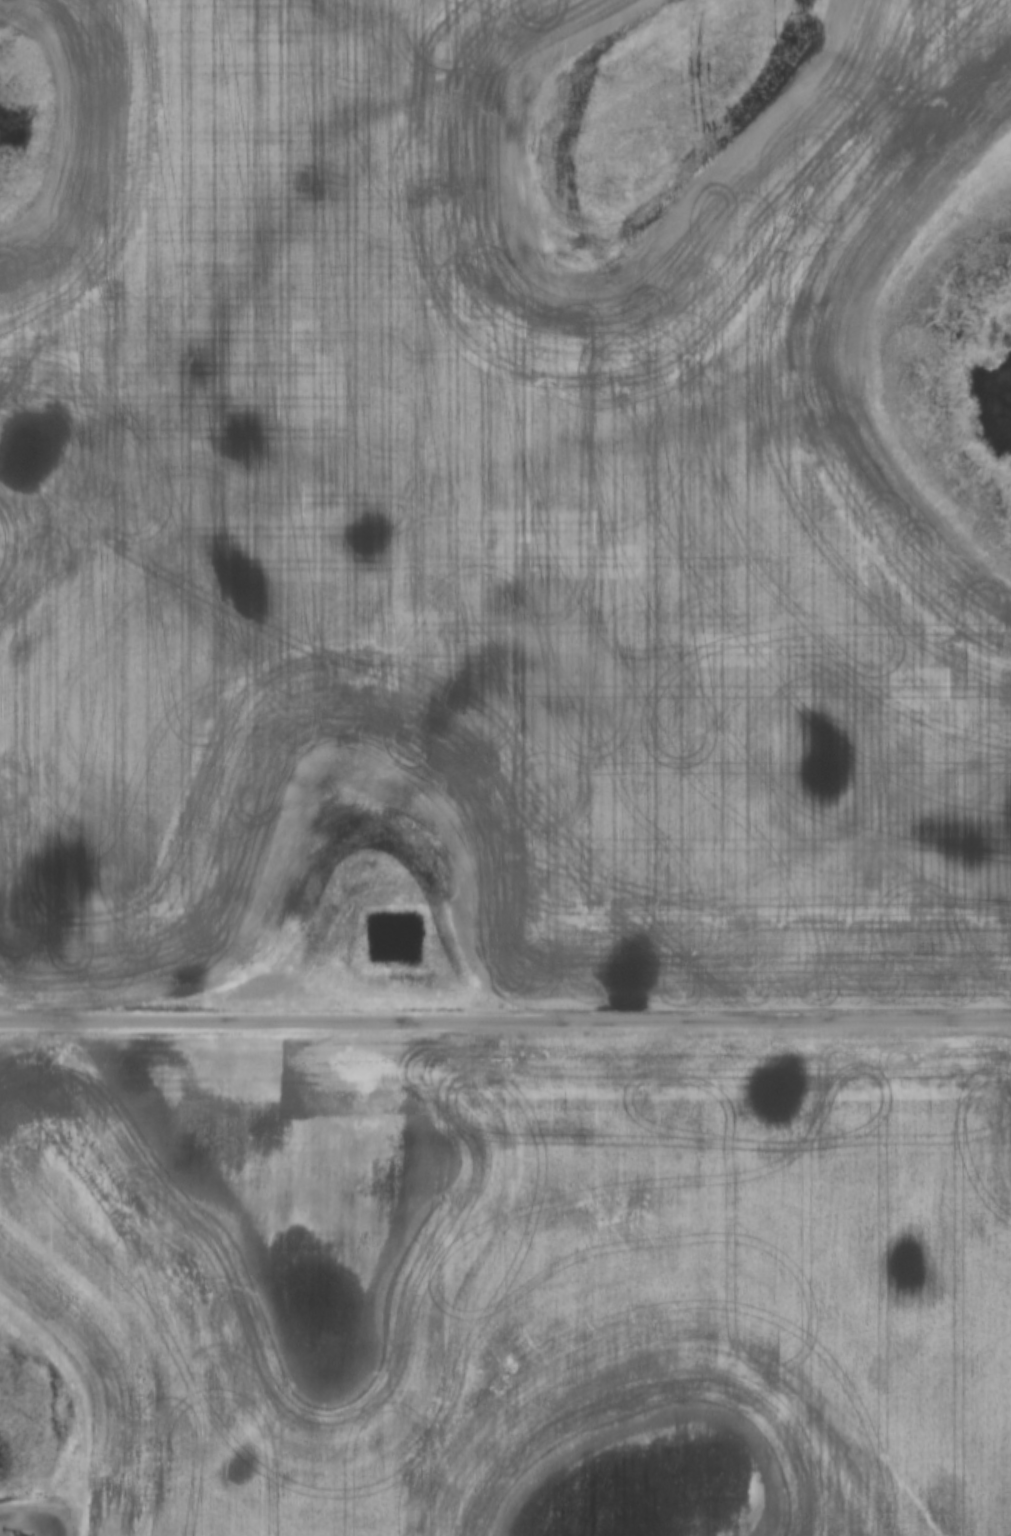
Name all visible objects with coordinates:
road: (505, 1017)
road: (33, 1513)

